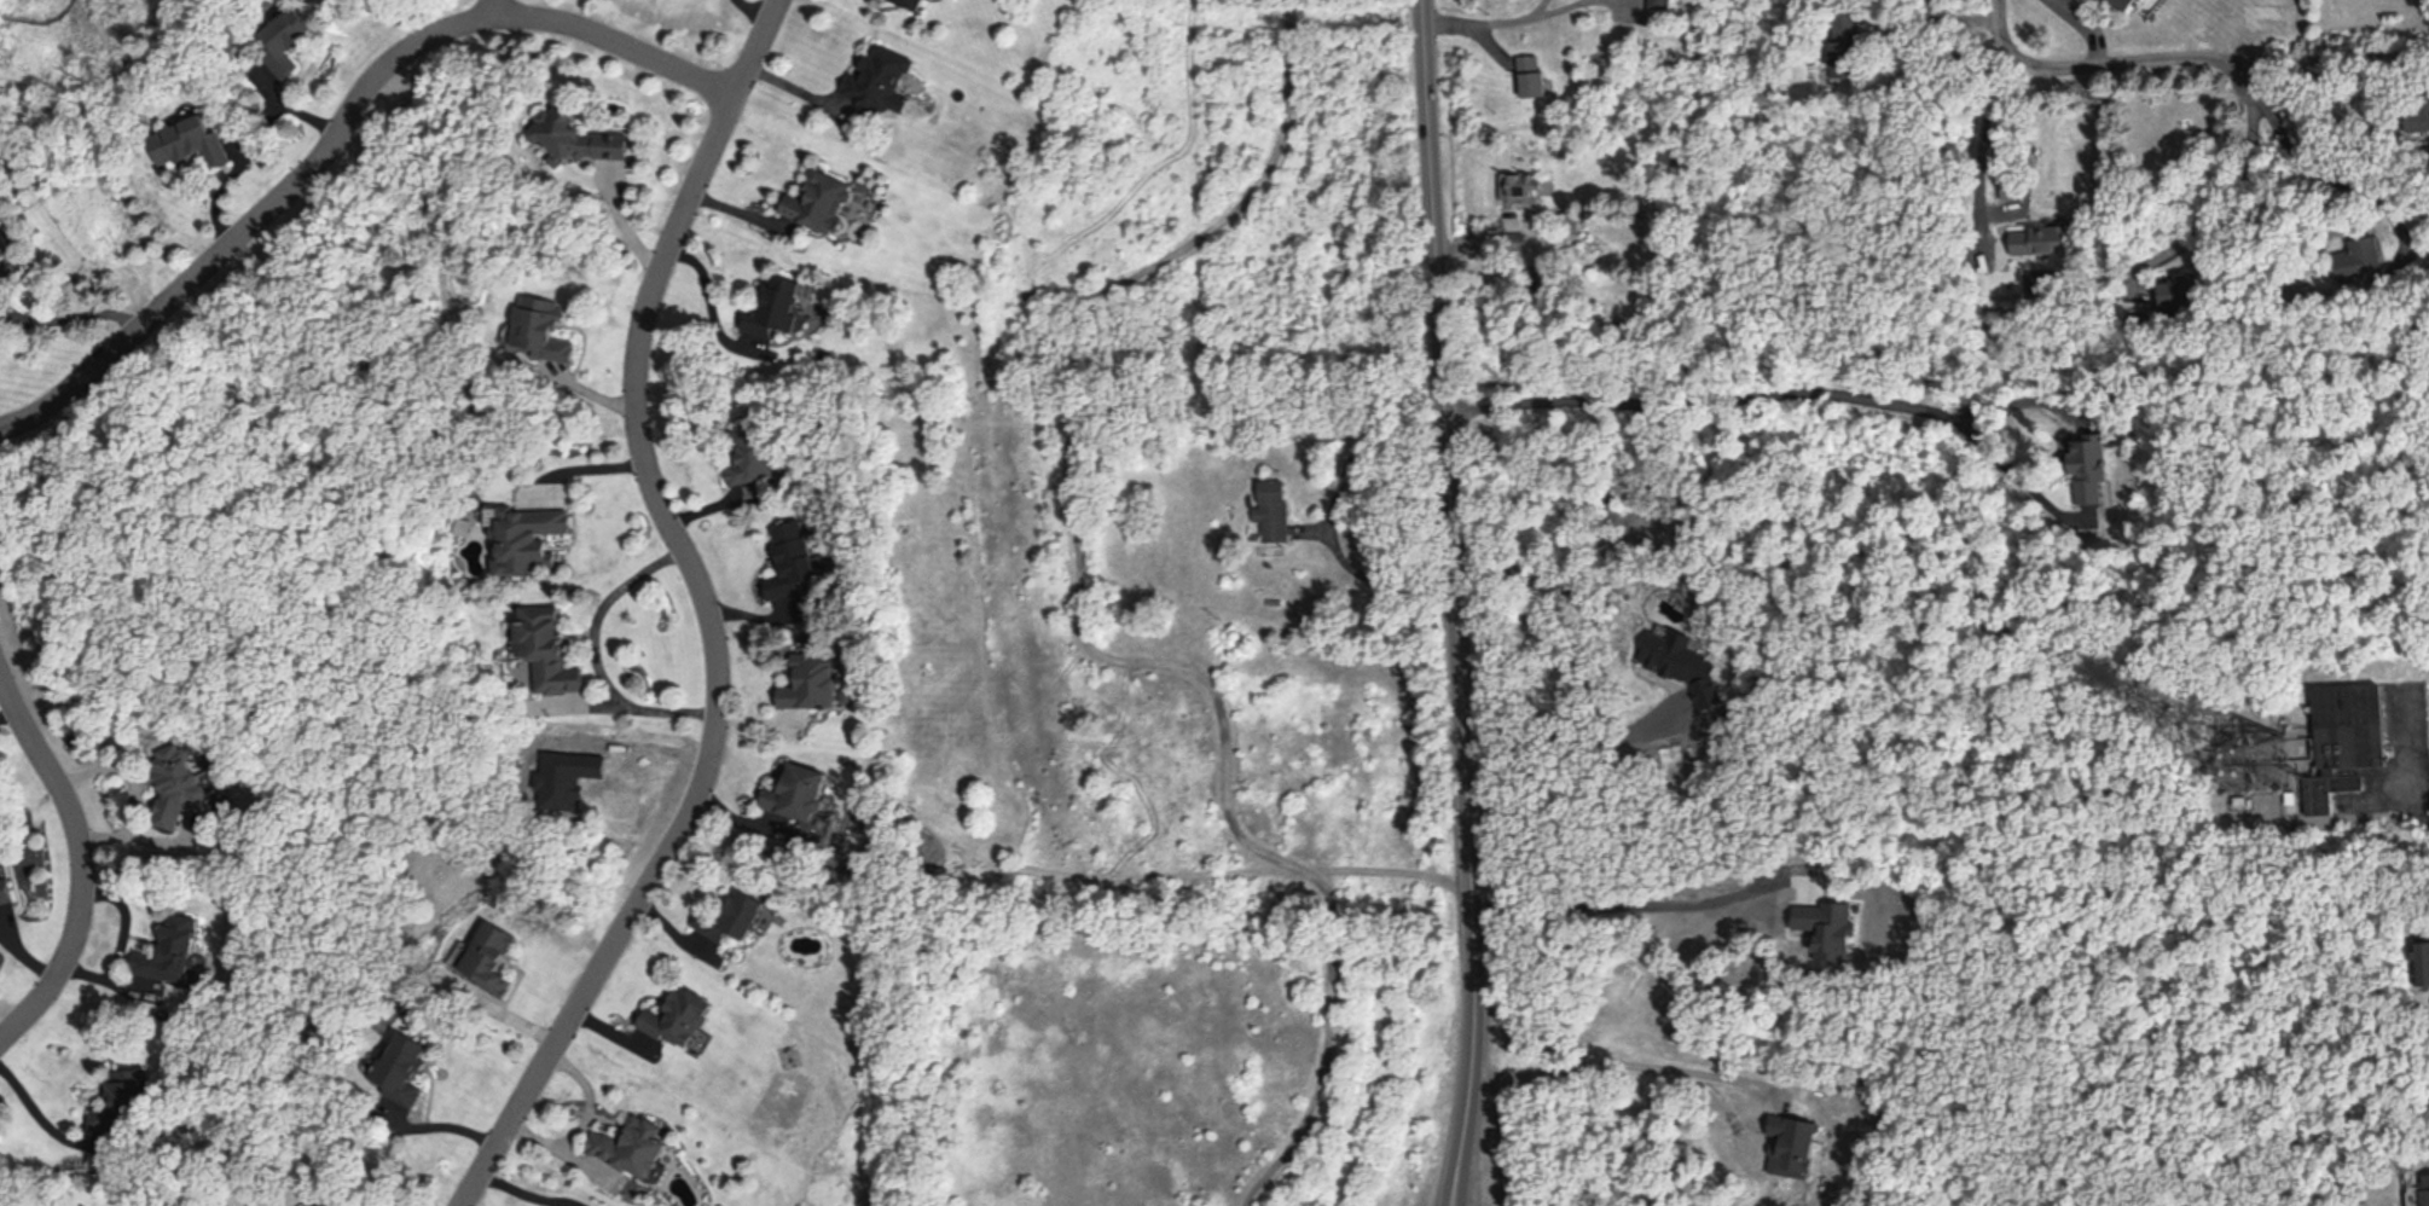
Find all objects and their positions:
building: (911, 2)
building: (1659, 4)
building: (2120, 4)
road: (515, 8)
road: (1934, 11)
road: (1502, 21)
road: (2082, 25)
building: (290, 39)
building: (1842, 42)
road: (2413, 53)
road: (2309, 57)
road: (2108, 60)
road: (2413, 68)
building: (1531, 75)
building: (877, 79)
building: (2417, 112)
road: (340, 129)
building: (579, 137)
building: (191, 140)
road: (1989, 150)
road: (2329, 181)
building: (1518, 185)
building: (2011, 185)
building: (819, 201)
road: (2208, 207)
building: (1517, 238)
building: (2039, 238)
building: (2360, 255)
building: (0, 271)
road: (706, 290)
building: (2179, 291)
building: (773, 306)
building: (544, 326)
road: (1778, 392)
building: (748, 454)
building: (2091, 466)
building: (1273, 509)
road: (1335, 510)
building: (469, 524)
building: (529, 535)
building: (789, 557)
road: (1456, 603)
road: (706, 611)
building: (549, 648)
road: (595, 653)
building: (1683, 663)
building: (810, 680)
building: (2350, 724)
road: (1566, 741)
road: (2385, 752)
building: (568, 776)
building: (175, 783)
road: (138, 788)
building: (2329, 789)
building: (795, 790)
road: (81, 860)
building: (8, 889)
road: (1628, 905)
building: (732, 915)
building: (1825, 926)
building: (493, 955)
building: (2421, 961)
building: (678, 1015)
building: (407, 1067)
road: (1618, 1067)
building: (122, 1097)
road: (589, 1097)
road: (40, 1114)
road: (431, 1129)
building: (1790, 1143)
building: (630, 1144)
road: (562, 1149)
building: (2421, 1193)

